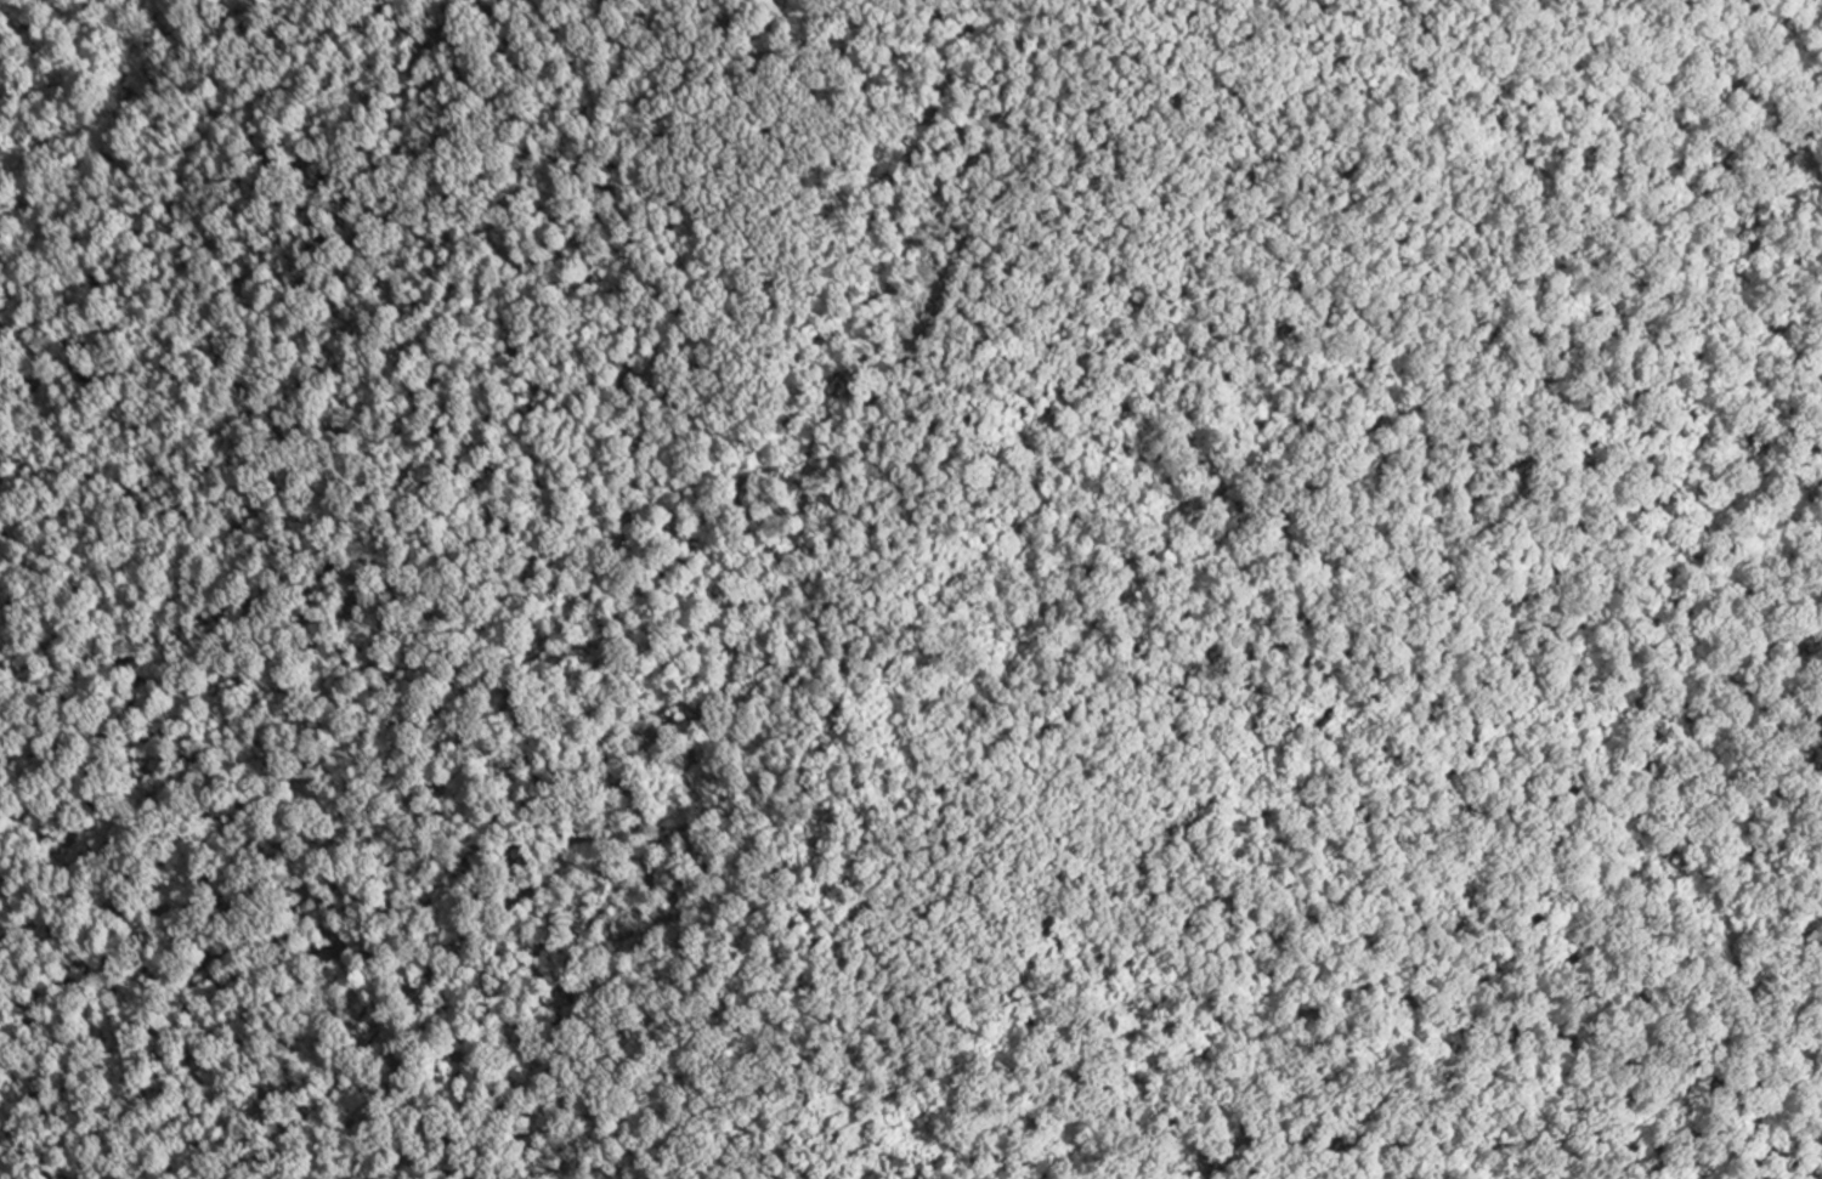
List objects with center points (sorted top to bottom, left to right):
road: (838, 588)
road: (556, 628)
road: (1384, 641)
road: (202, 948)

